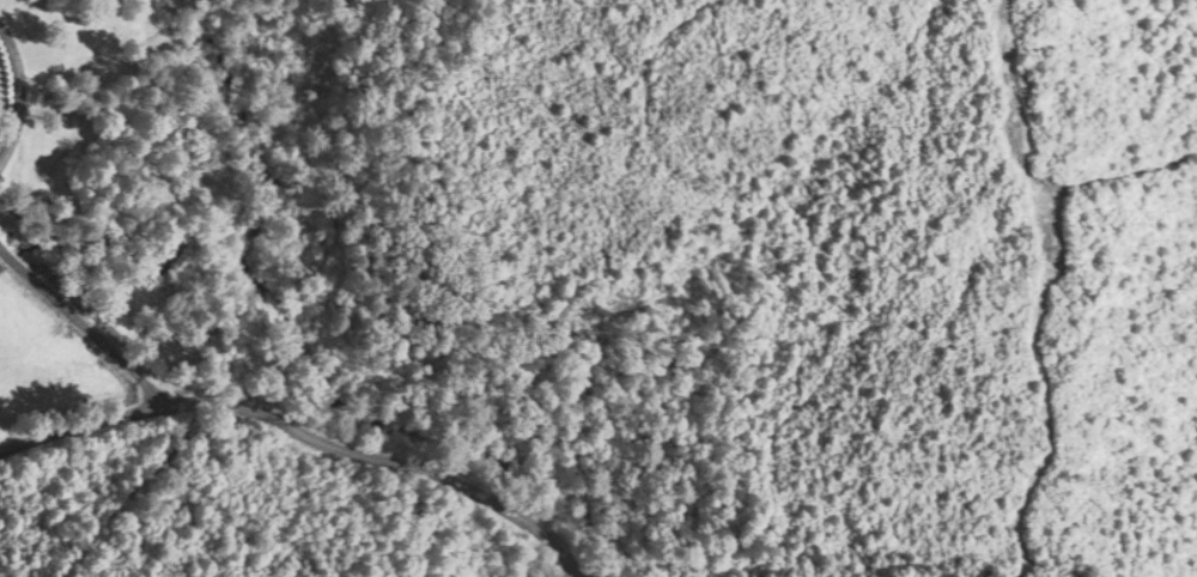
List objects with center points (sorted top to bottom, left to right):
road: (85, 327)
road: (303, 431)

